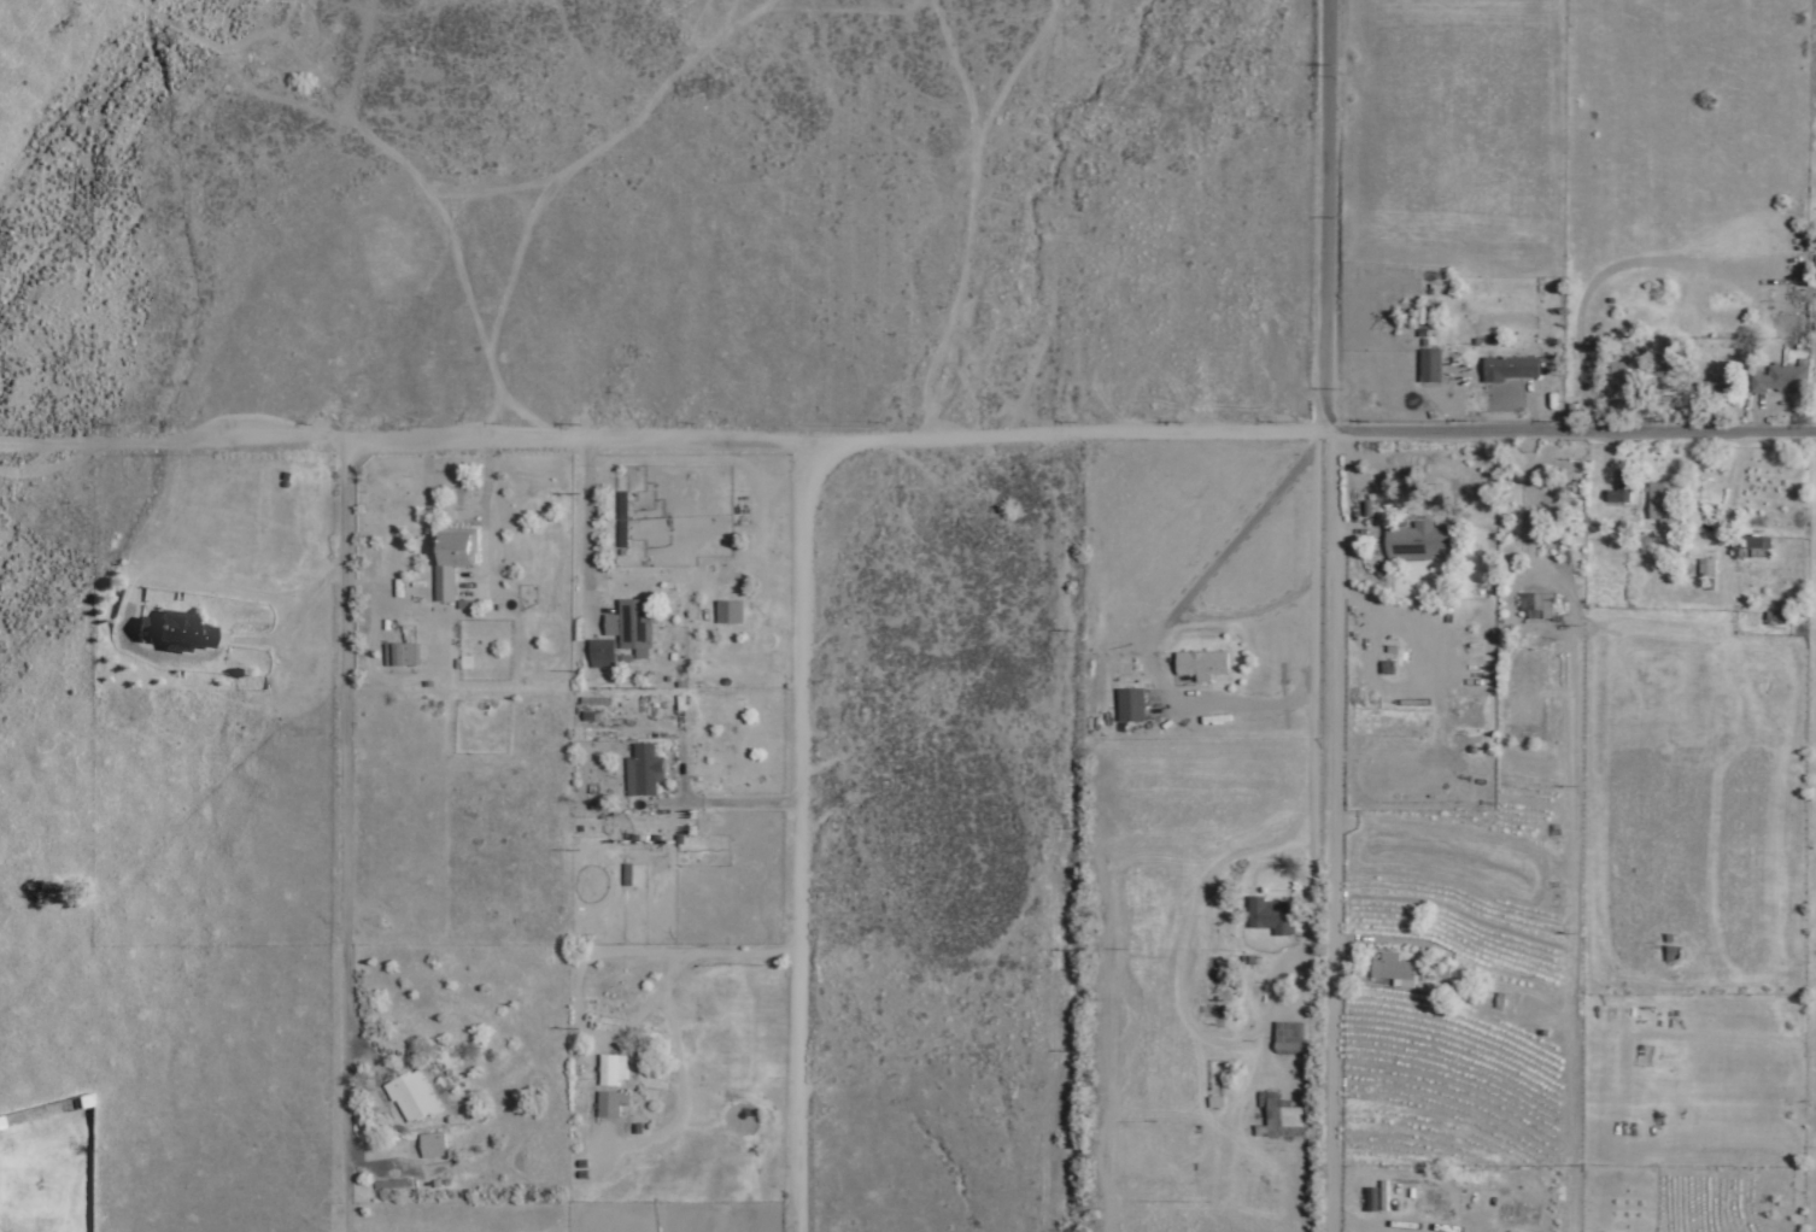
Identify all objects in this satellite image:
crop: (1463, 210)
building: (1815, 258)
building: (1429, 365)
building: (1510, 369)
building: (1619, 374)
building: (1787, 379)
building: (1709, 391)
road: (1311, 430)
road: (403, 442)
building: (1618, 489)
building: (1665, 504)
building: (1417, 540)
building: (1748, 546)
building: (452, 558)
building: (1706, 568)
building: (1535, 605)
building: (728, 606)
road: (1331, 615)
building: (174, 630)
building: (635, 633)
building: (601, 652)
building: (400, 655)
building: (1201, 664)
road: (1311, 688)
building: (1130, 705)
building: (643, 770)
road: (801, 837)
road: (341, 838)
building: (1270, 915)
building: (1400, 968)
building: (1288, 1038)
building: (613, 1070)
building: (411, 1097)
building: (611, 1105)
building: (1279, 1113)
building: (432, 1145)
building: (1372, 1199)

